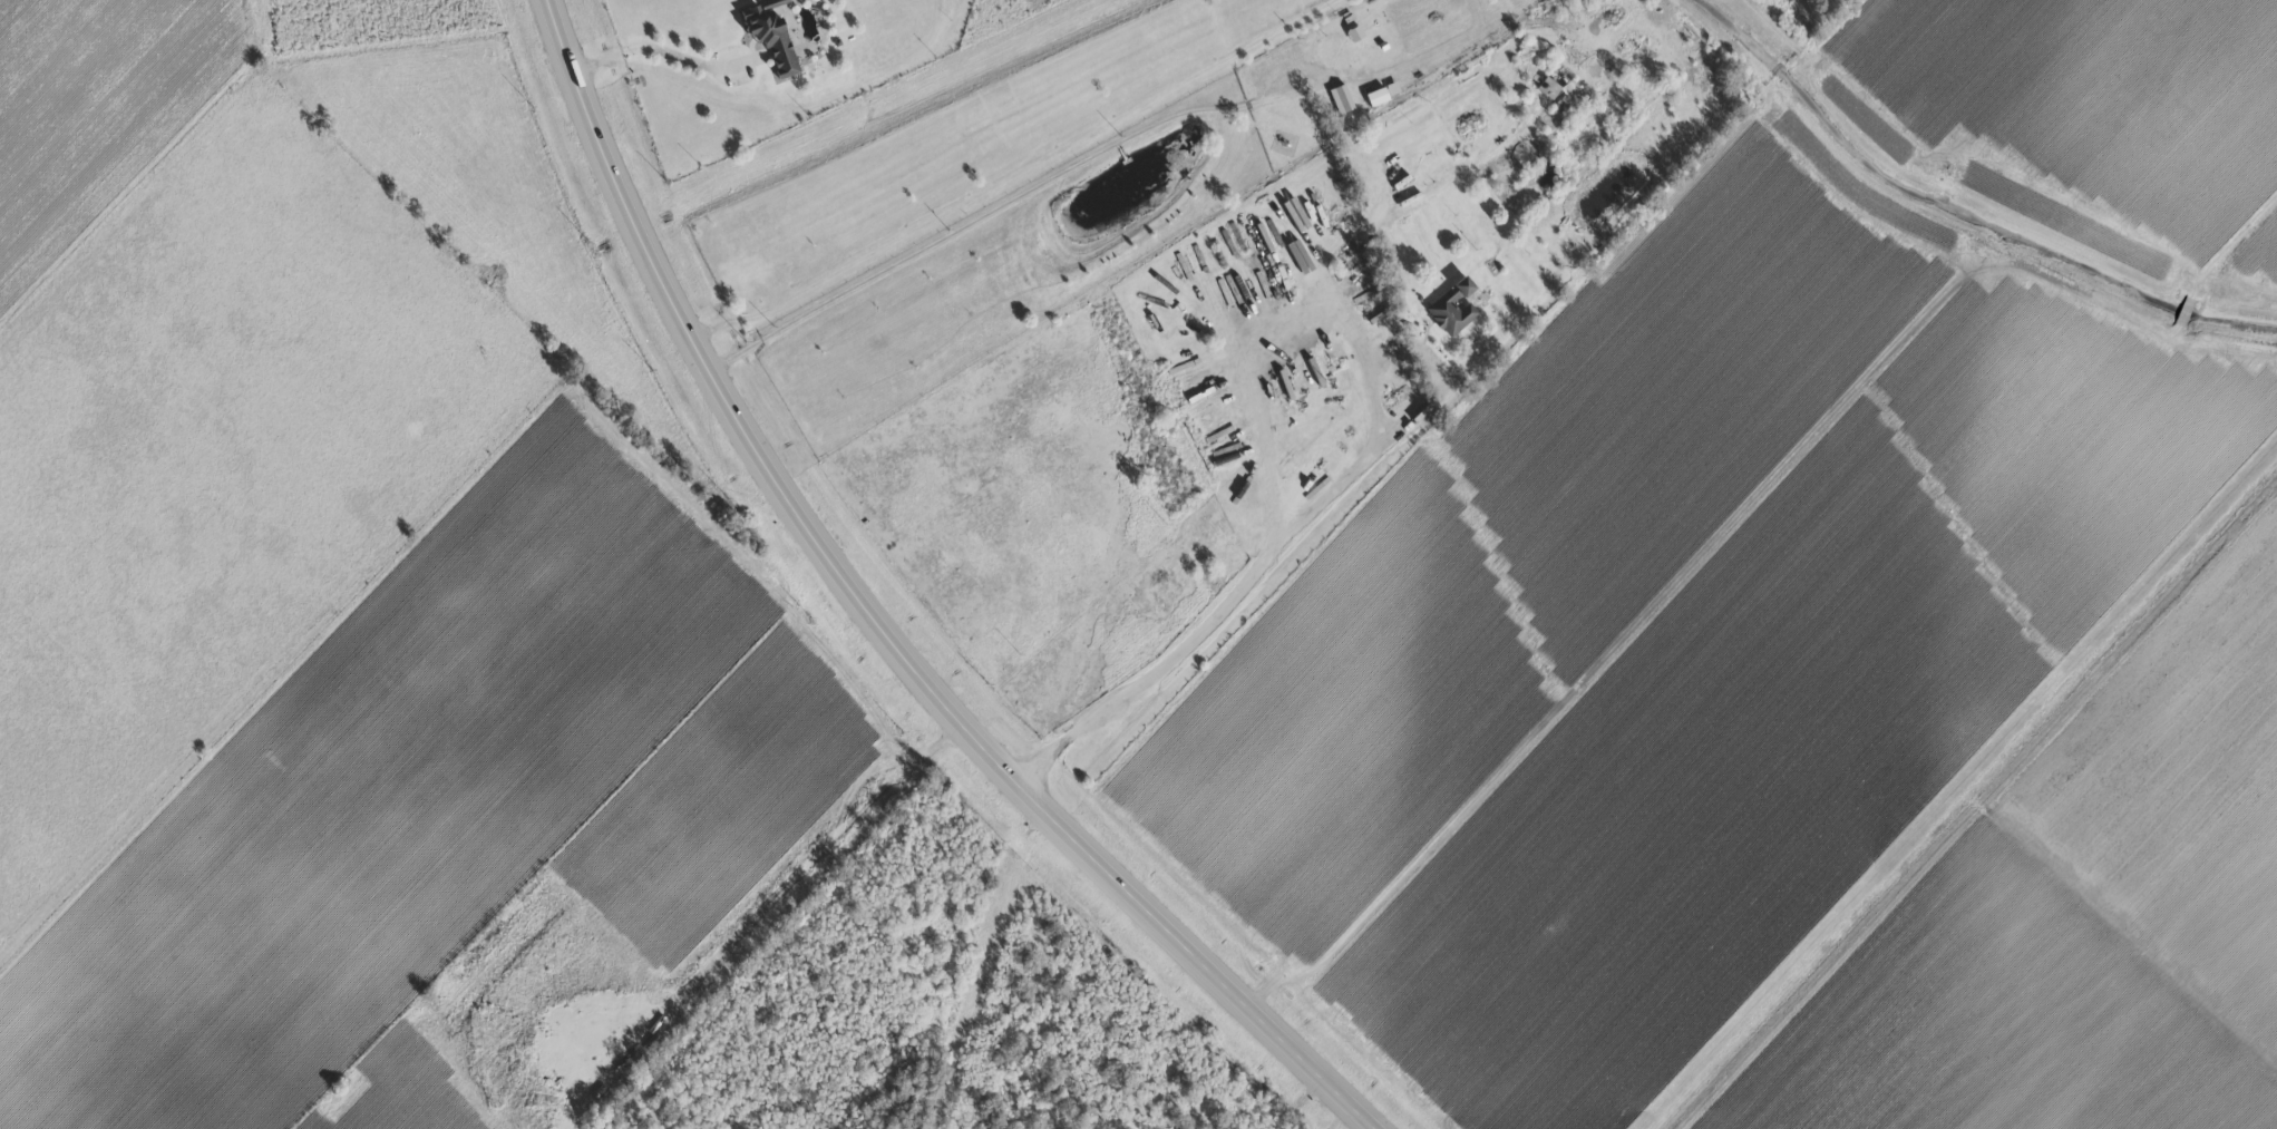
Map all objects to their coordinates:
building: (770, 37)
road: (654, 55)
building: (1392, 88)
building: (1560, 93)
building: (1376, 97)
building: (1341, 98)
road: (1026, 178)
road: (1320, 249)
road: (2241, 249)
building: (1452, 308)
road: (1265, 352)
road: (1430, 392)
road: (1205, 616)
road: (876, 624)

